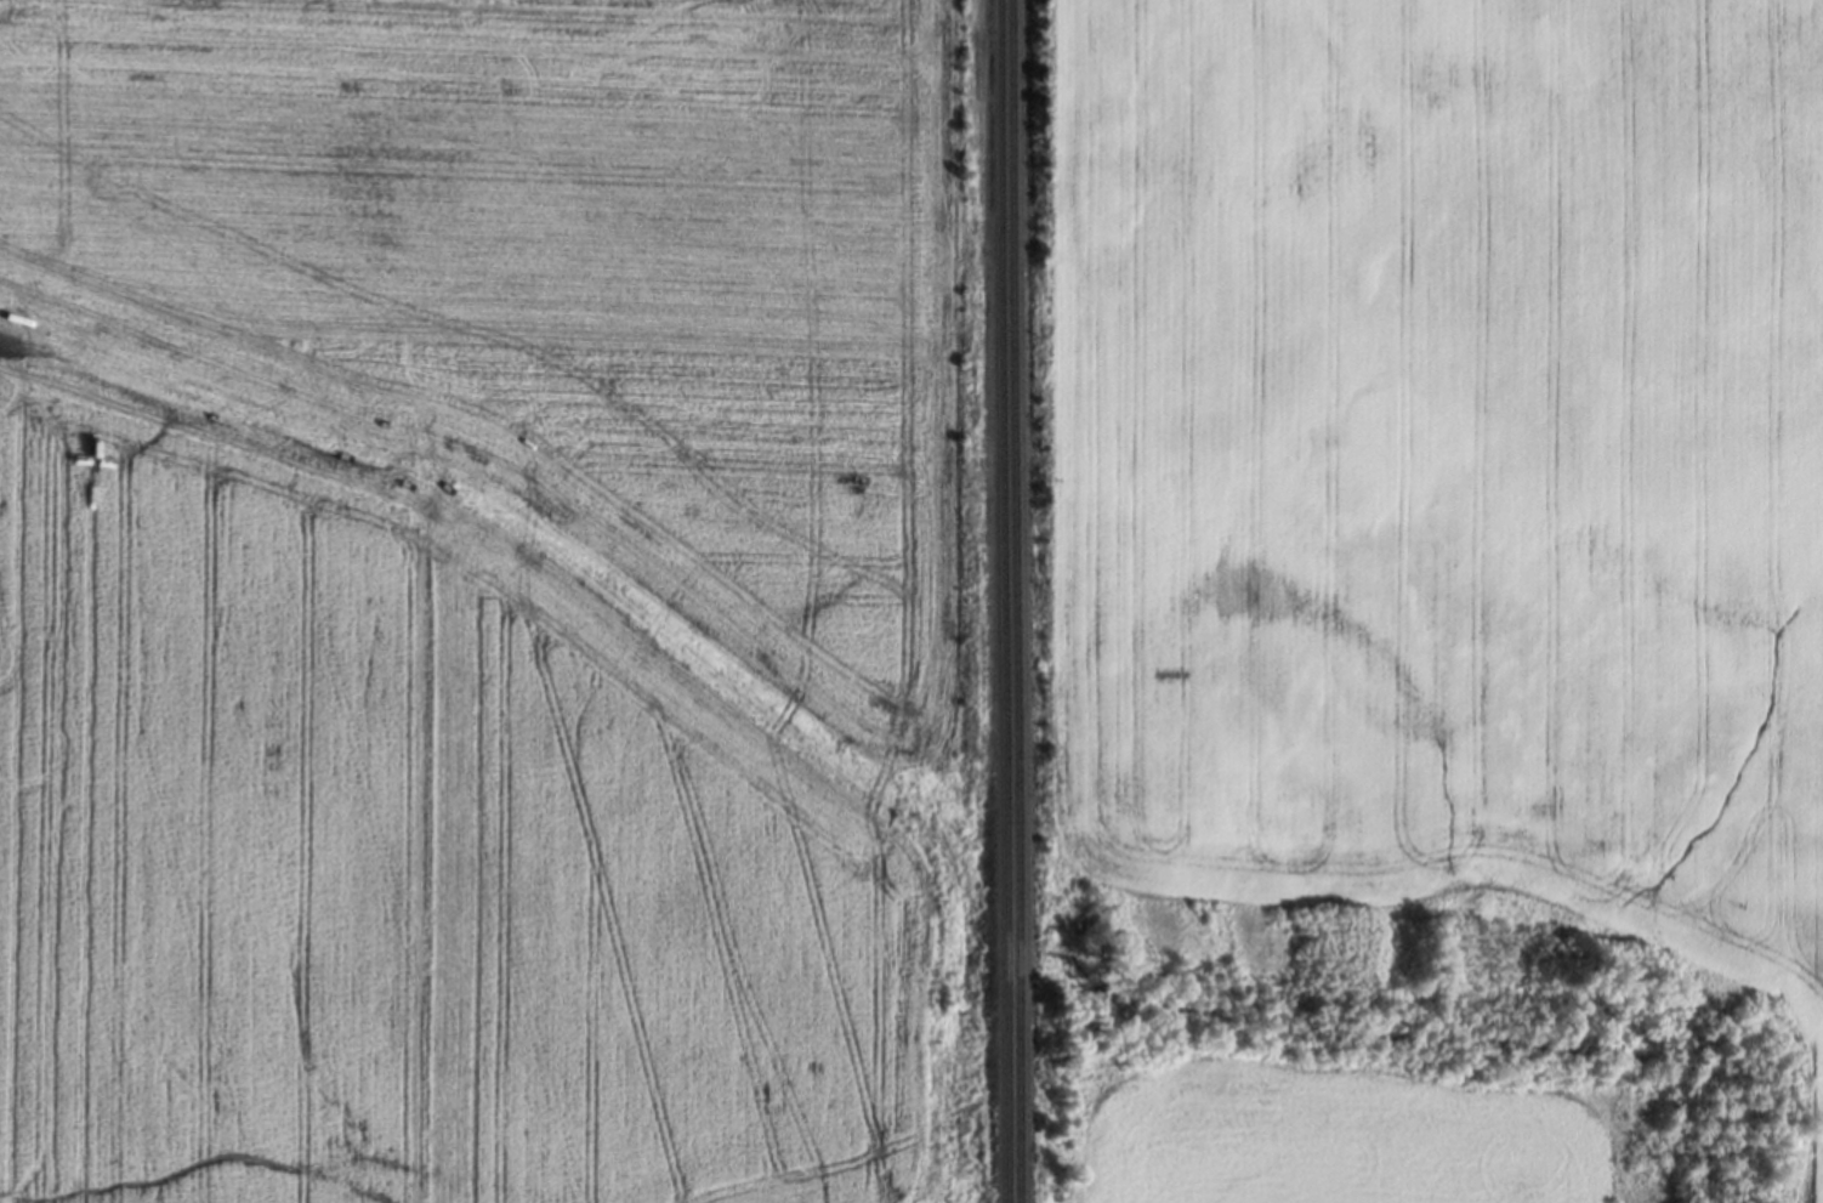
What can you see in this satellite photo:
crop: (557, 283)
crop: (1450, 460)
railway: (1001, 601)
railway: (1013, 601)
crop: (411, 853)

